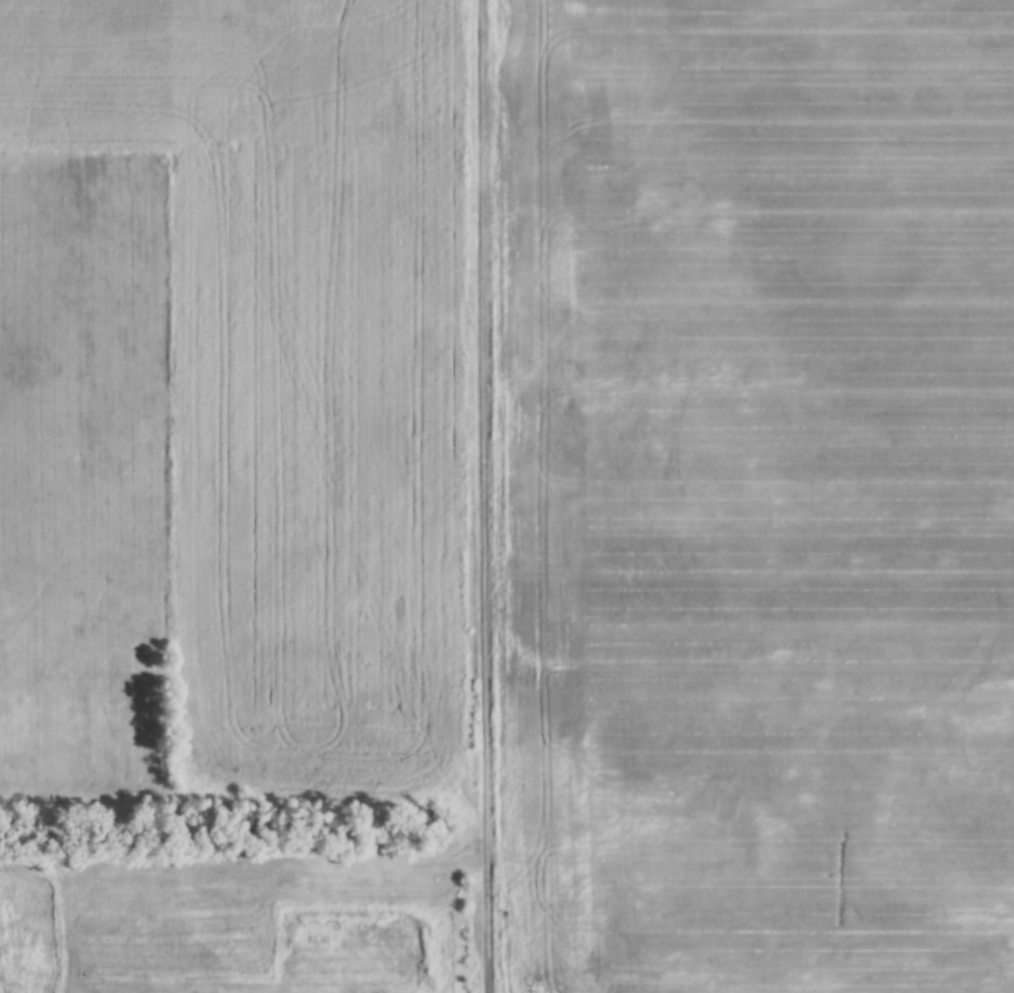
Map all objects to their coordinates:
road: (486, 496)

